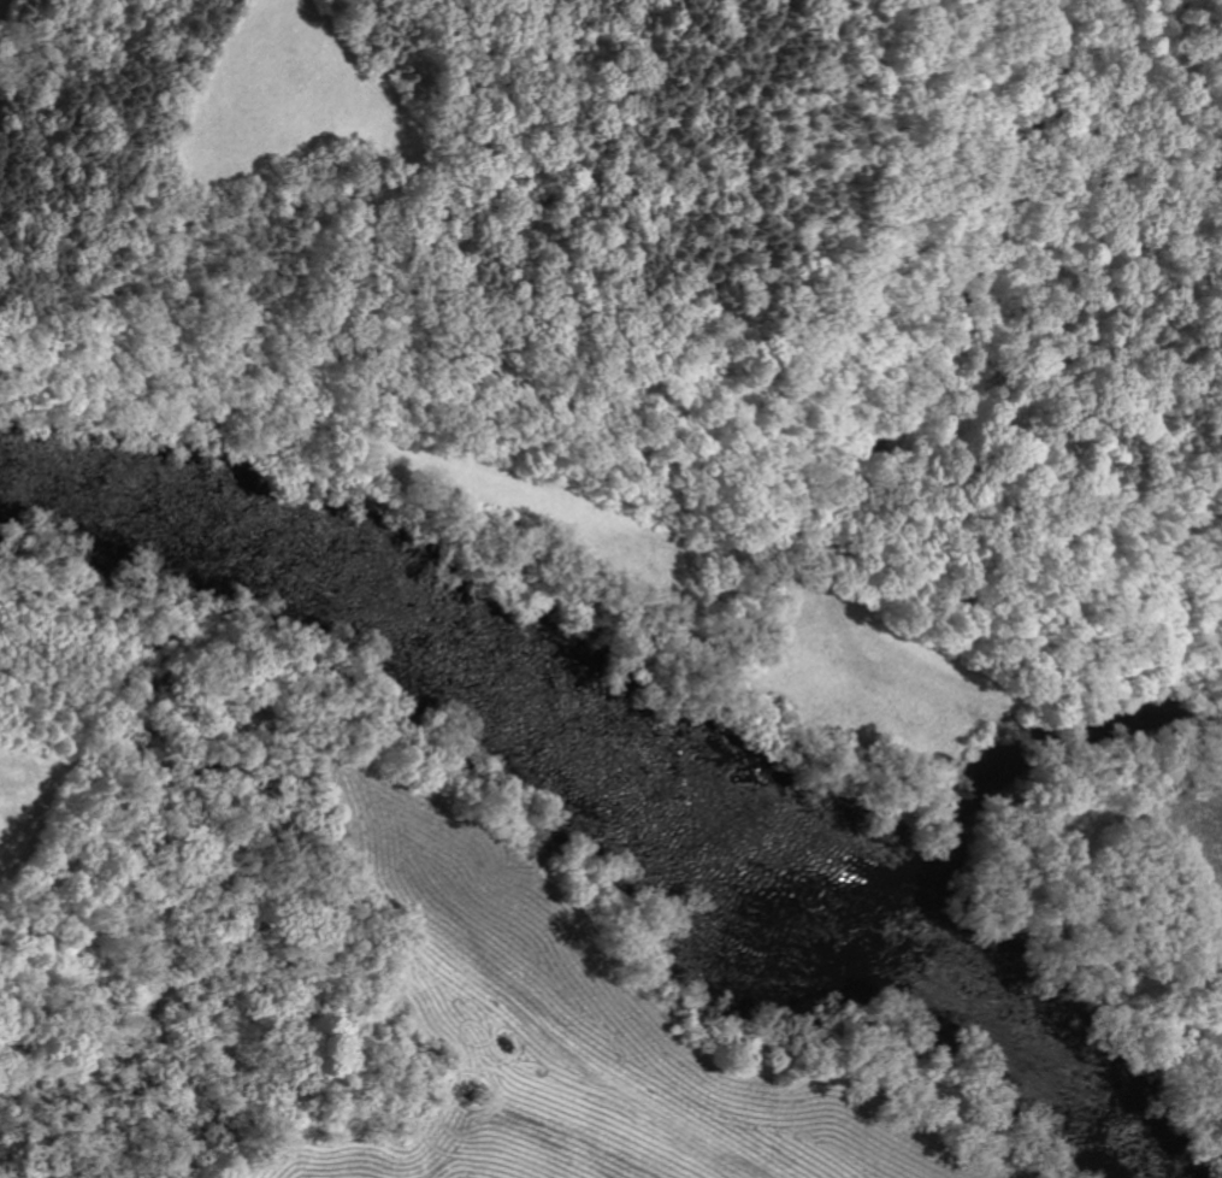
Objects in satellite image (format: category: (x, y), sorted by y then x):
river: (638, 717)

